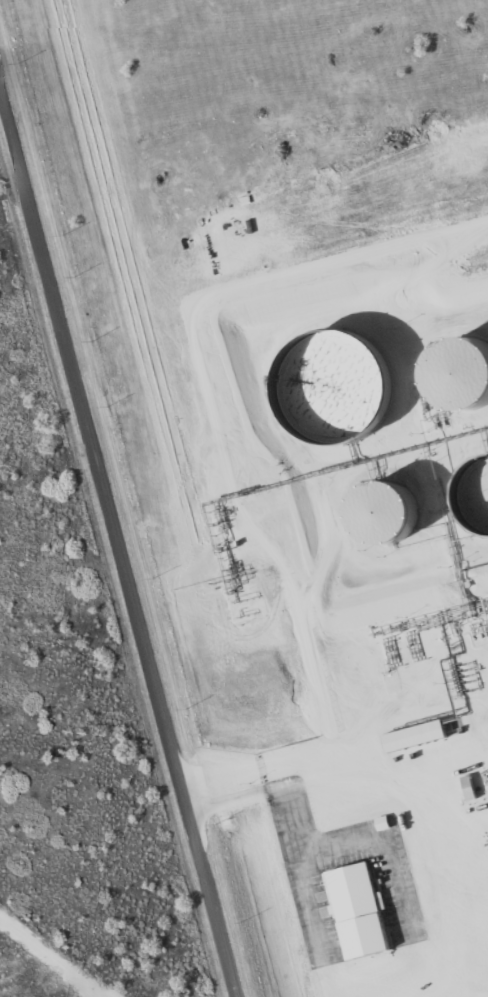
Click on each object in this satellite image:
building: (469, 223)
building: (265, 250)
road: (121, 565)
road: (338, 769)

